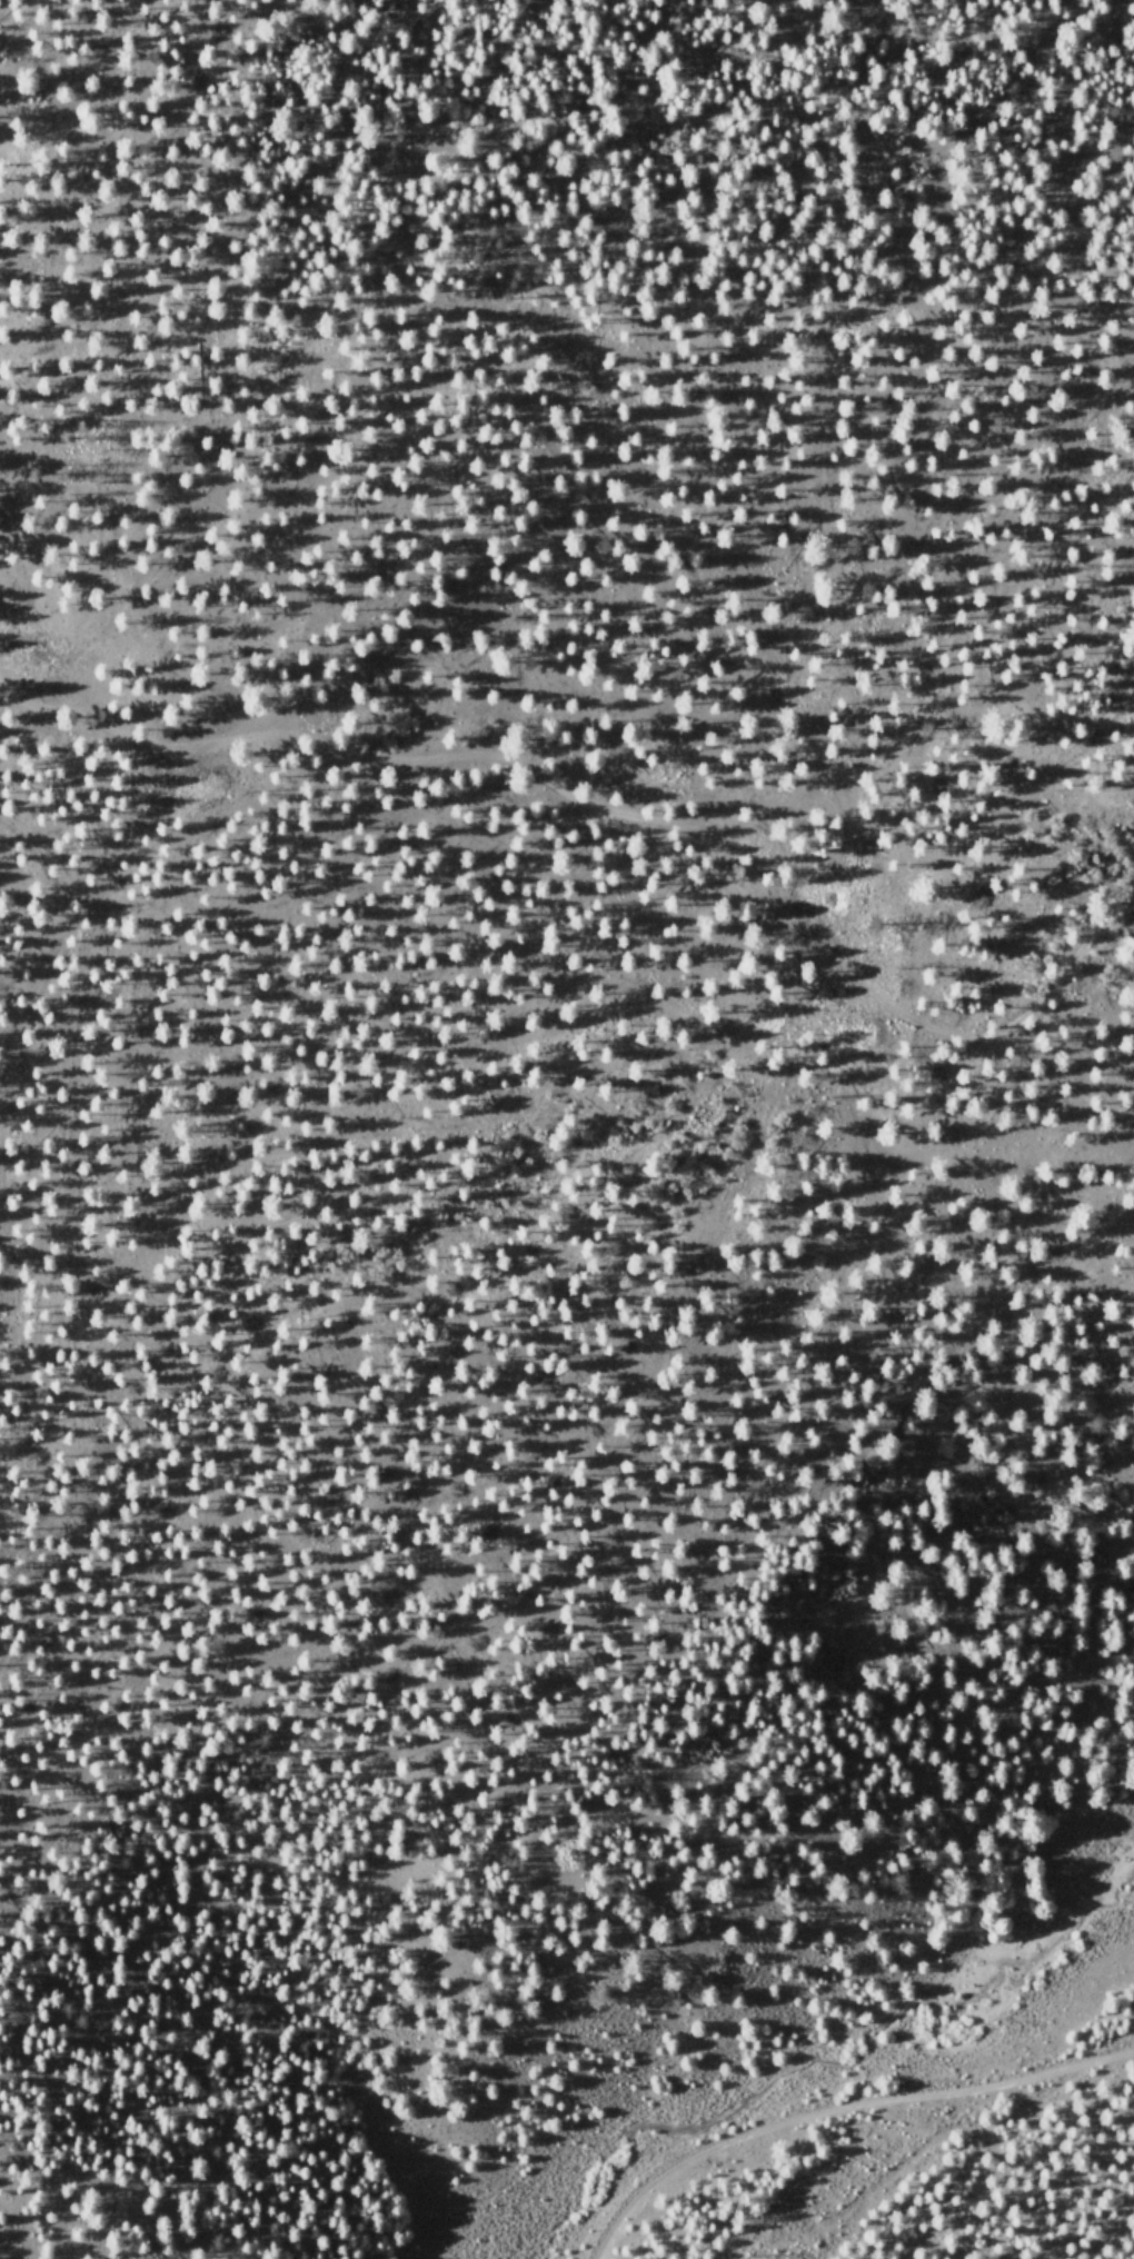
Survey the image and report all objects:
road: (1073, 1879)

